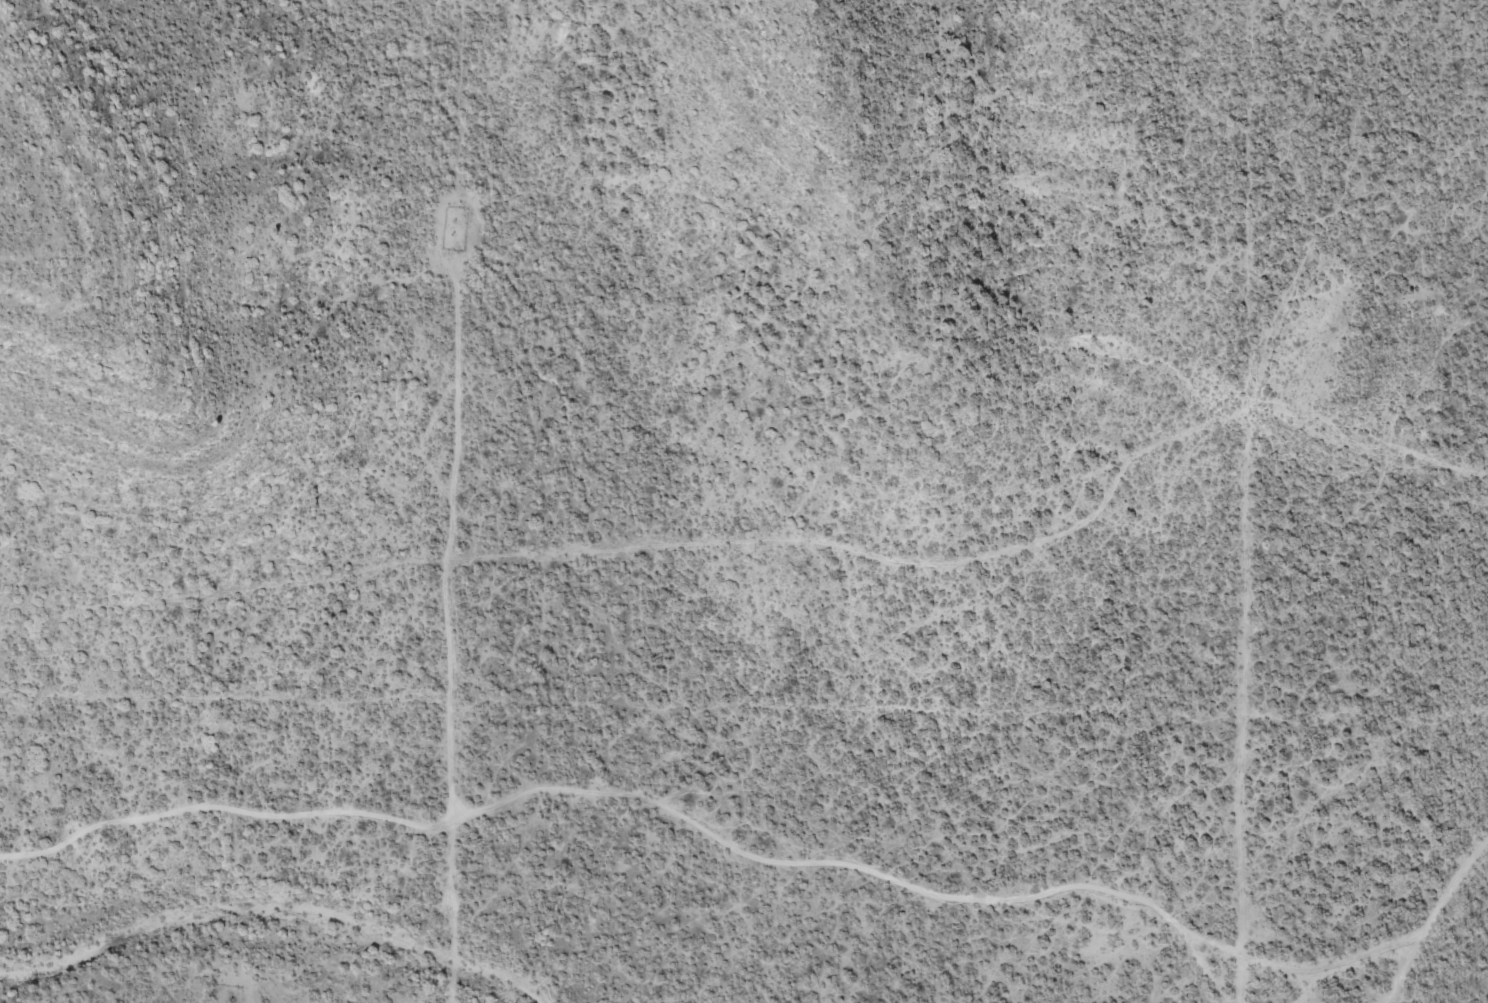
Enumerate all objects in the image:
road: (932, 889)

